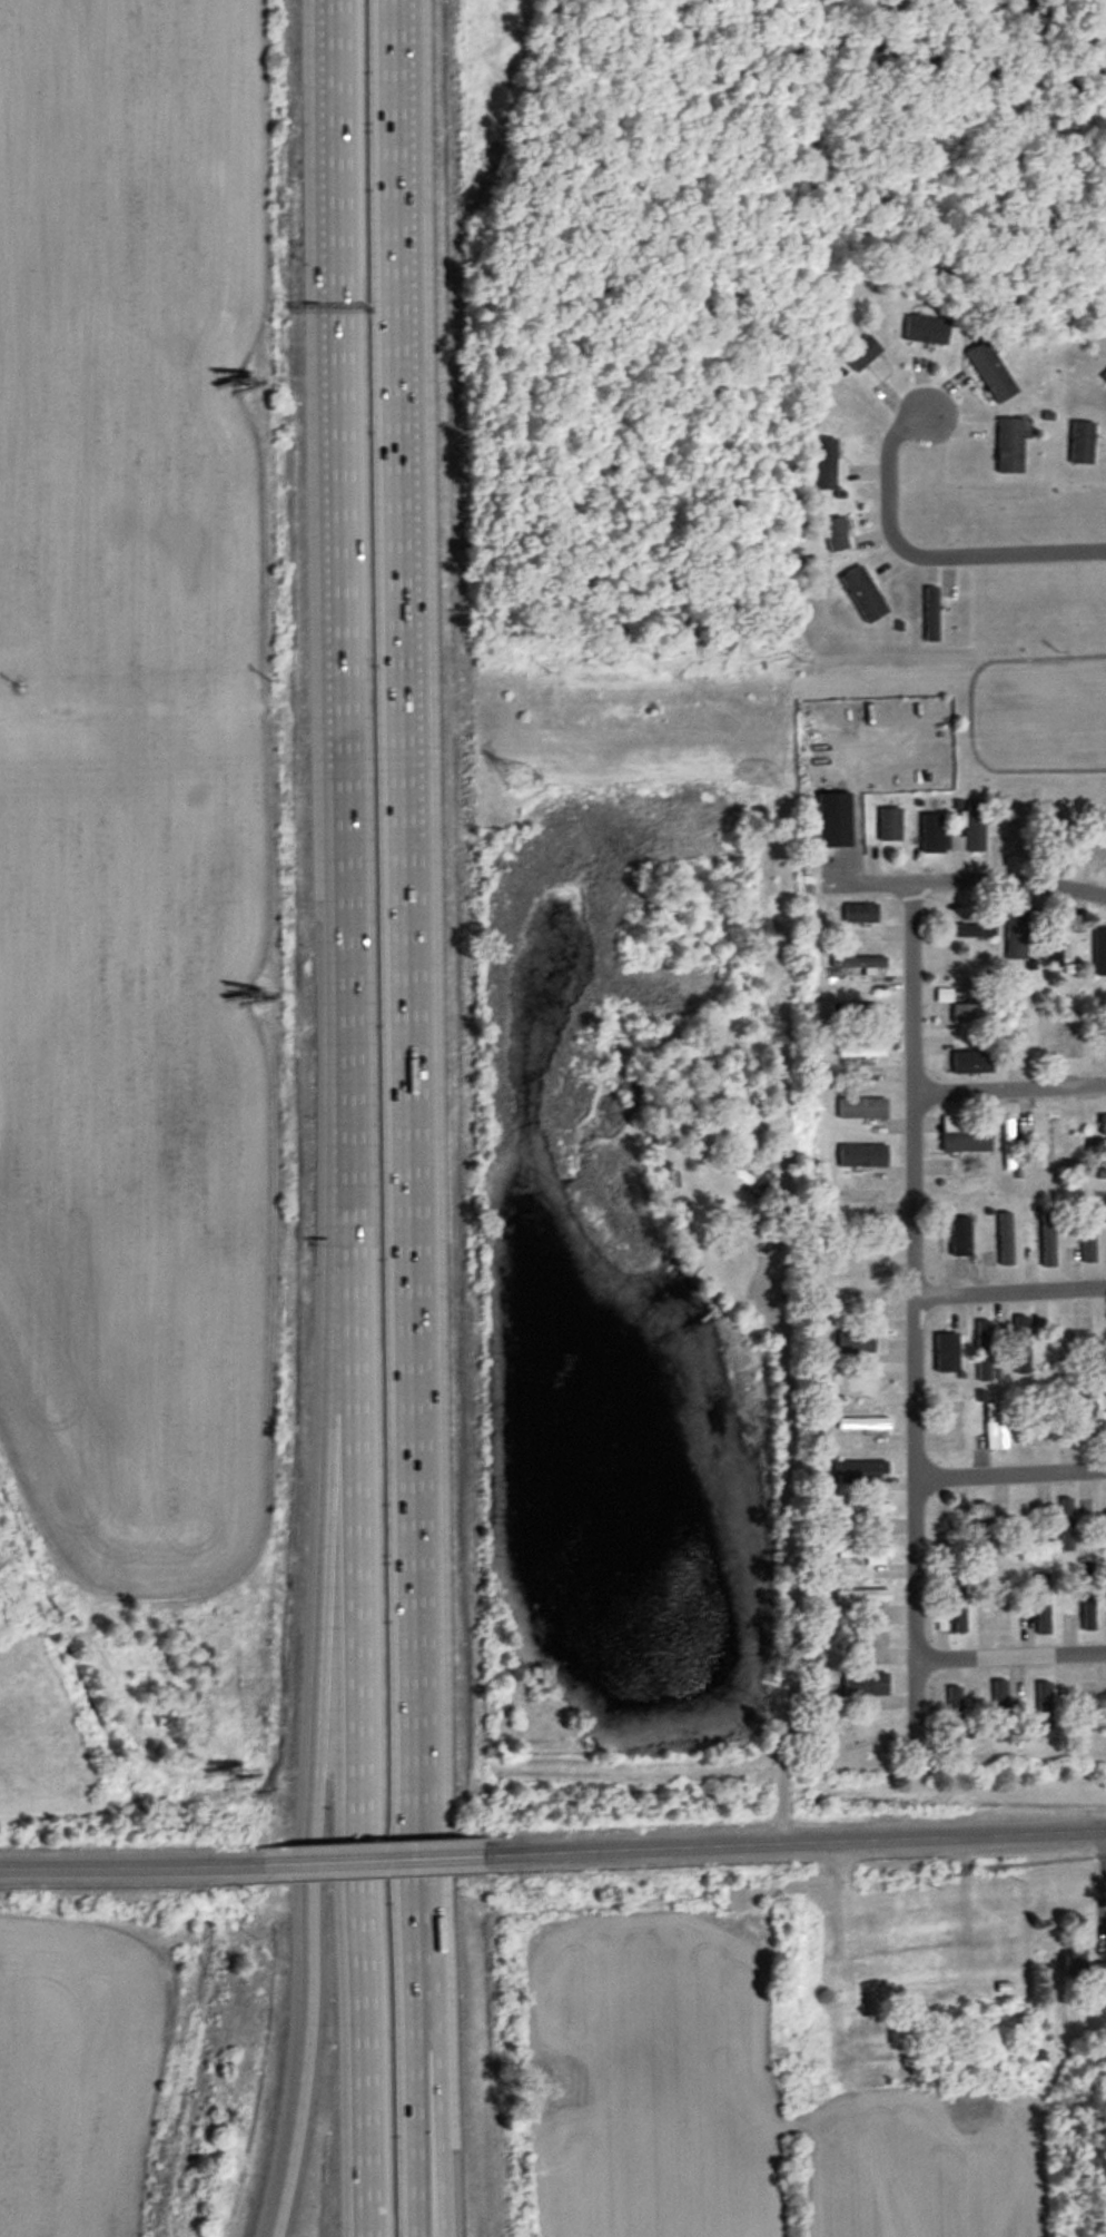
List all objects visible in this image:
building: (926, 331)
building: (861, 353)
building: (990, 373)
building: (1104, 381)
building: (1082, 443)
building: (1009, 446)
building: (823, 463)
road: (927, 555)
building: (862, 594)
building: (930, 614)
power tower: (517, 776)
building: (517, 778)
road: (402, 799)
building: (833, 819)
building: (889, 825)
building: (971, 830)
building: (1063, 832)
building: (1045, 857)
road: (1009, 881)
building: (860, 914)
building: (968, 928)
building: (1020, 934)
building: (1063, 936)
building: (1099, 952)
building: (858, 963)
building: (968, 969)
building: (971, 1014)
building: (1030, 1035)
building: (1097, 1048)
building: (860, 1053)
road: (1010, 1090)
building: (861, 1108)
road: (352, 1117)
building: (1103, 1126)
building: (961, 1137)
building: (1008, 1144)
building: (1055, 1144)
building: (861, 1156)
building: (1099, 1162)
building: (1089, 1233)
building: (1045, 1239)
building: (1005, 1240)
building: (964, 1244)
building: (866, 1259)
road: (916, 1267)
road: (1011, 1289)
building: (1065, 1340)
building: (855, 1342)
building: (944, 1346)
building: (1020, 1346)
building: (984, 1351)
building: (867, 1388)
building: (1084, 1411)
building: (862, 1423)
building: (996, 1425)
building: (1036, 1425)
road: (1011, 1471)
building: (857, 1474)
road: (325, 1490)
building: (1105, 1506)
building: (865, 1509)
building: (1066, 1525)
building: (982, 1529)
building: (941, 1530)
building: (870, 1559)
building: (1088, 1604)
building: (959, 1607)
building: (866, 1645)
road: (1011, 1654)
building: (866, 1685)
building: (1045, 1709)
building: (1000, 1711)
building: (955, 1713)
building: (862, 1735)
road: (800, 1840)
road: (373, 1857)
road: (126, 1864)
road: (431, 1918)
road: (416, 1919)
building: (1082, 1969)

